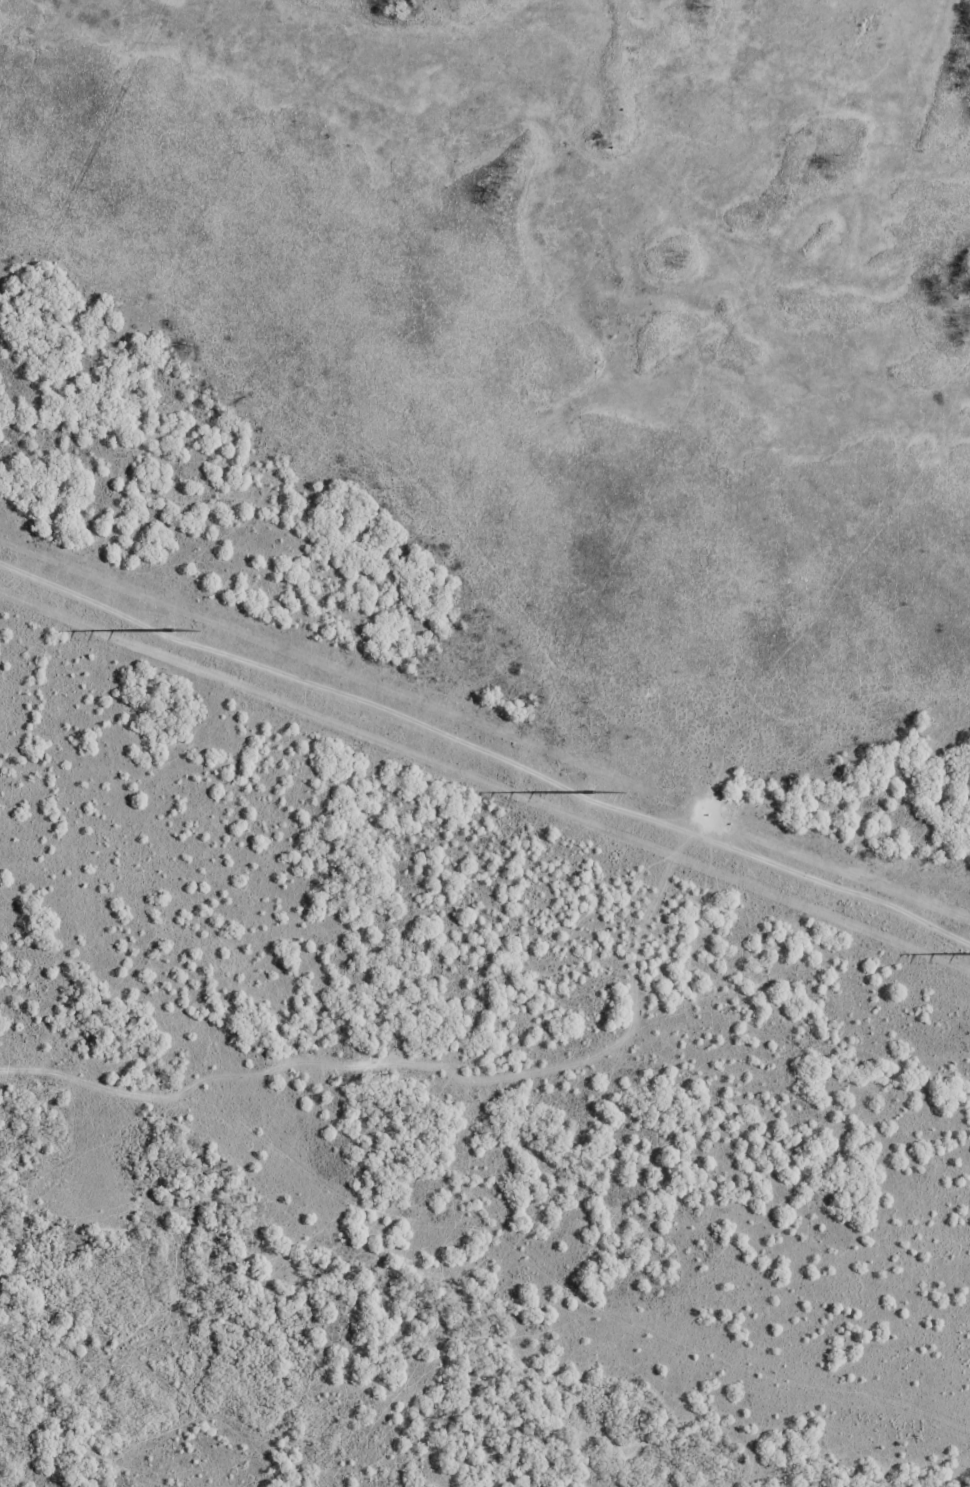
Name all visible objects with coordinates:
power tower: (183, 639)
power tower: (598, 798)
road: (498, 1131)

